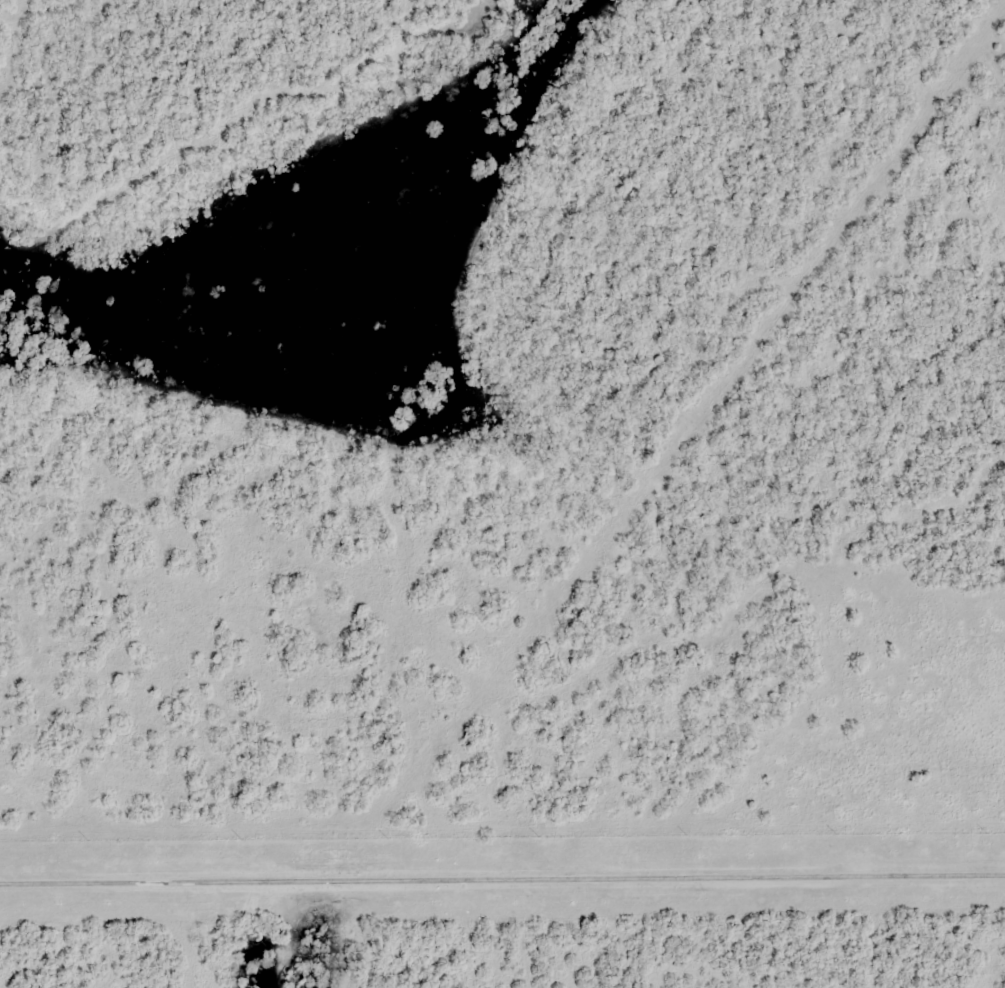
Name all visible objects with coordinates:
road: (502, 874)

